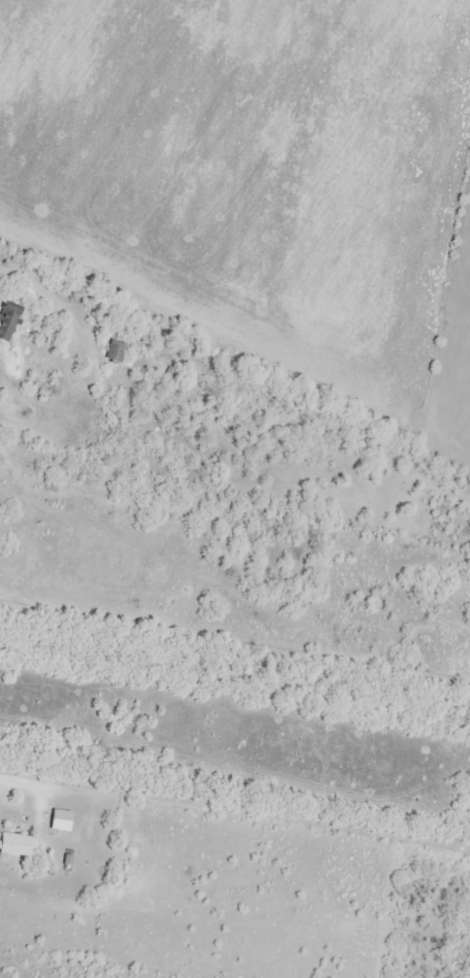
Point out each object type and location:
building: (9, 319)
road: (110, 321)
building: (60, 821)
building: (17, 846)

